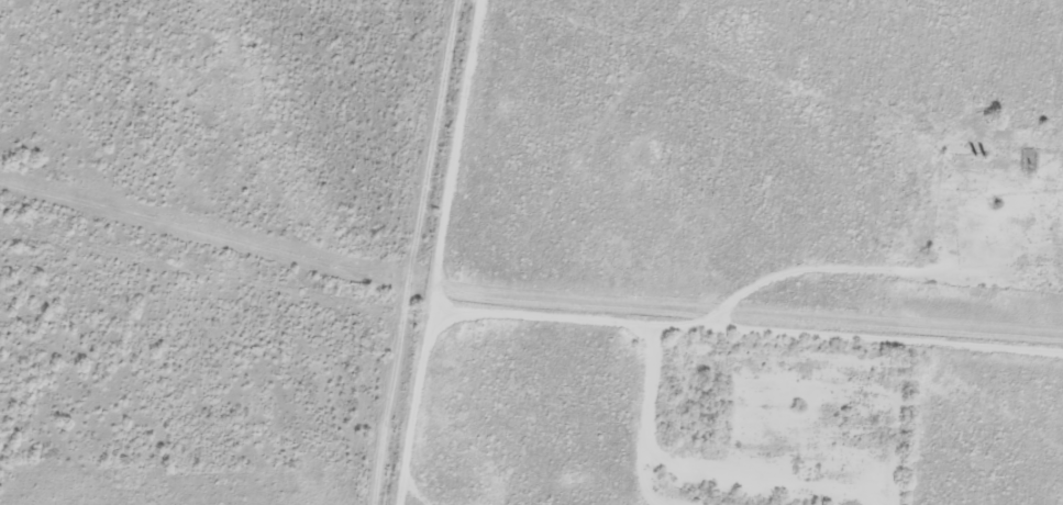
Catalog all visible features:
road: (441, 254)

